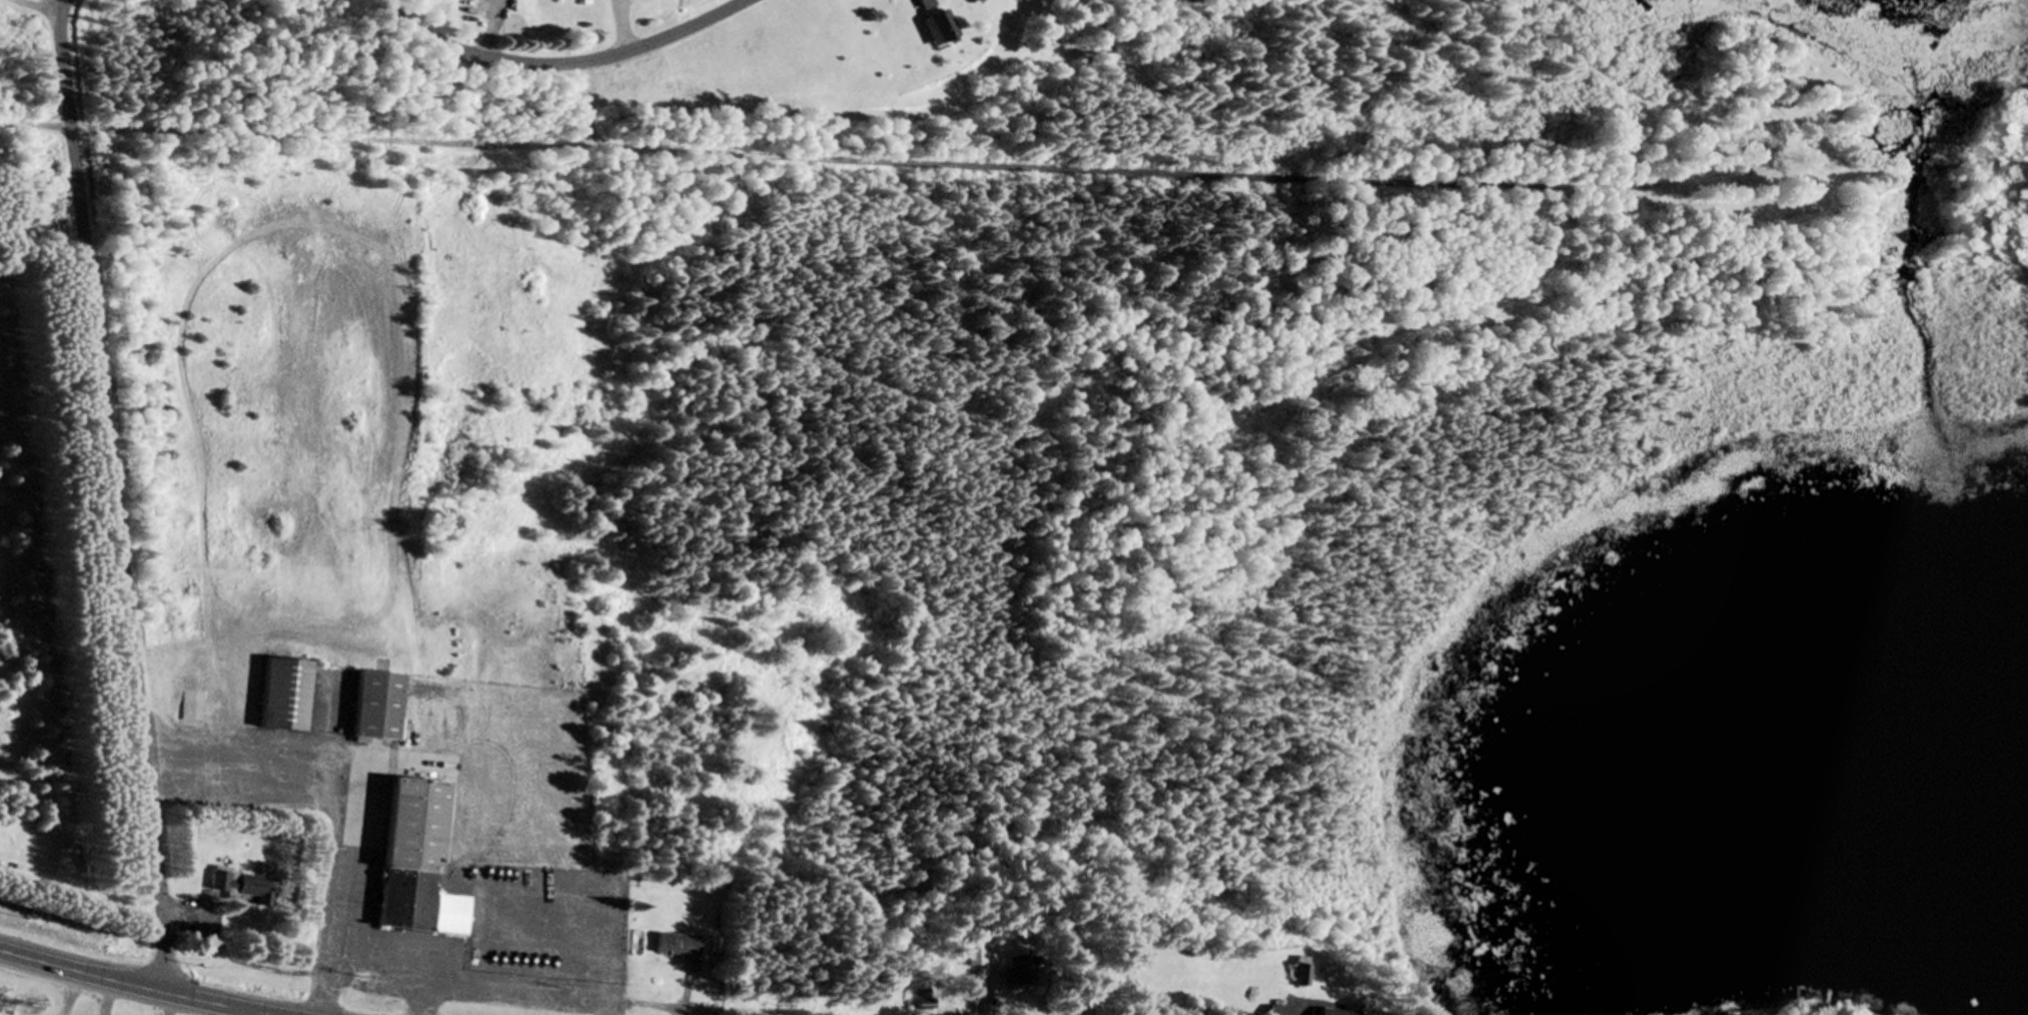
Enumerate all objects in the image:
building: (924, 4)
road: (59, 6)
road: (39, 7)
building: (934, 30)
road: (554, 64)
road: (857, 161)
road: (116, 504)
building: (283, 697)
building: (192, 708)
building: (375, 708)
building: (413, 863)
building: (240, 884)
building: (674, 946)
building: (973, 956)
building: (1298, 974)
road: (131, 987)
building: (1275, 1011)
building: (1336, 1014)

